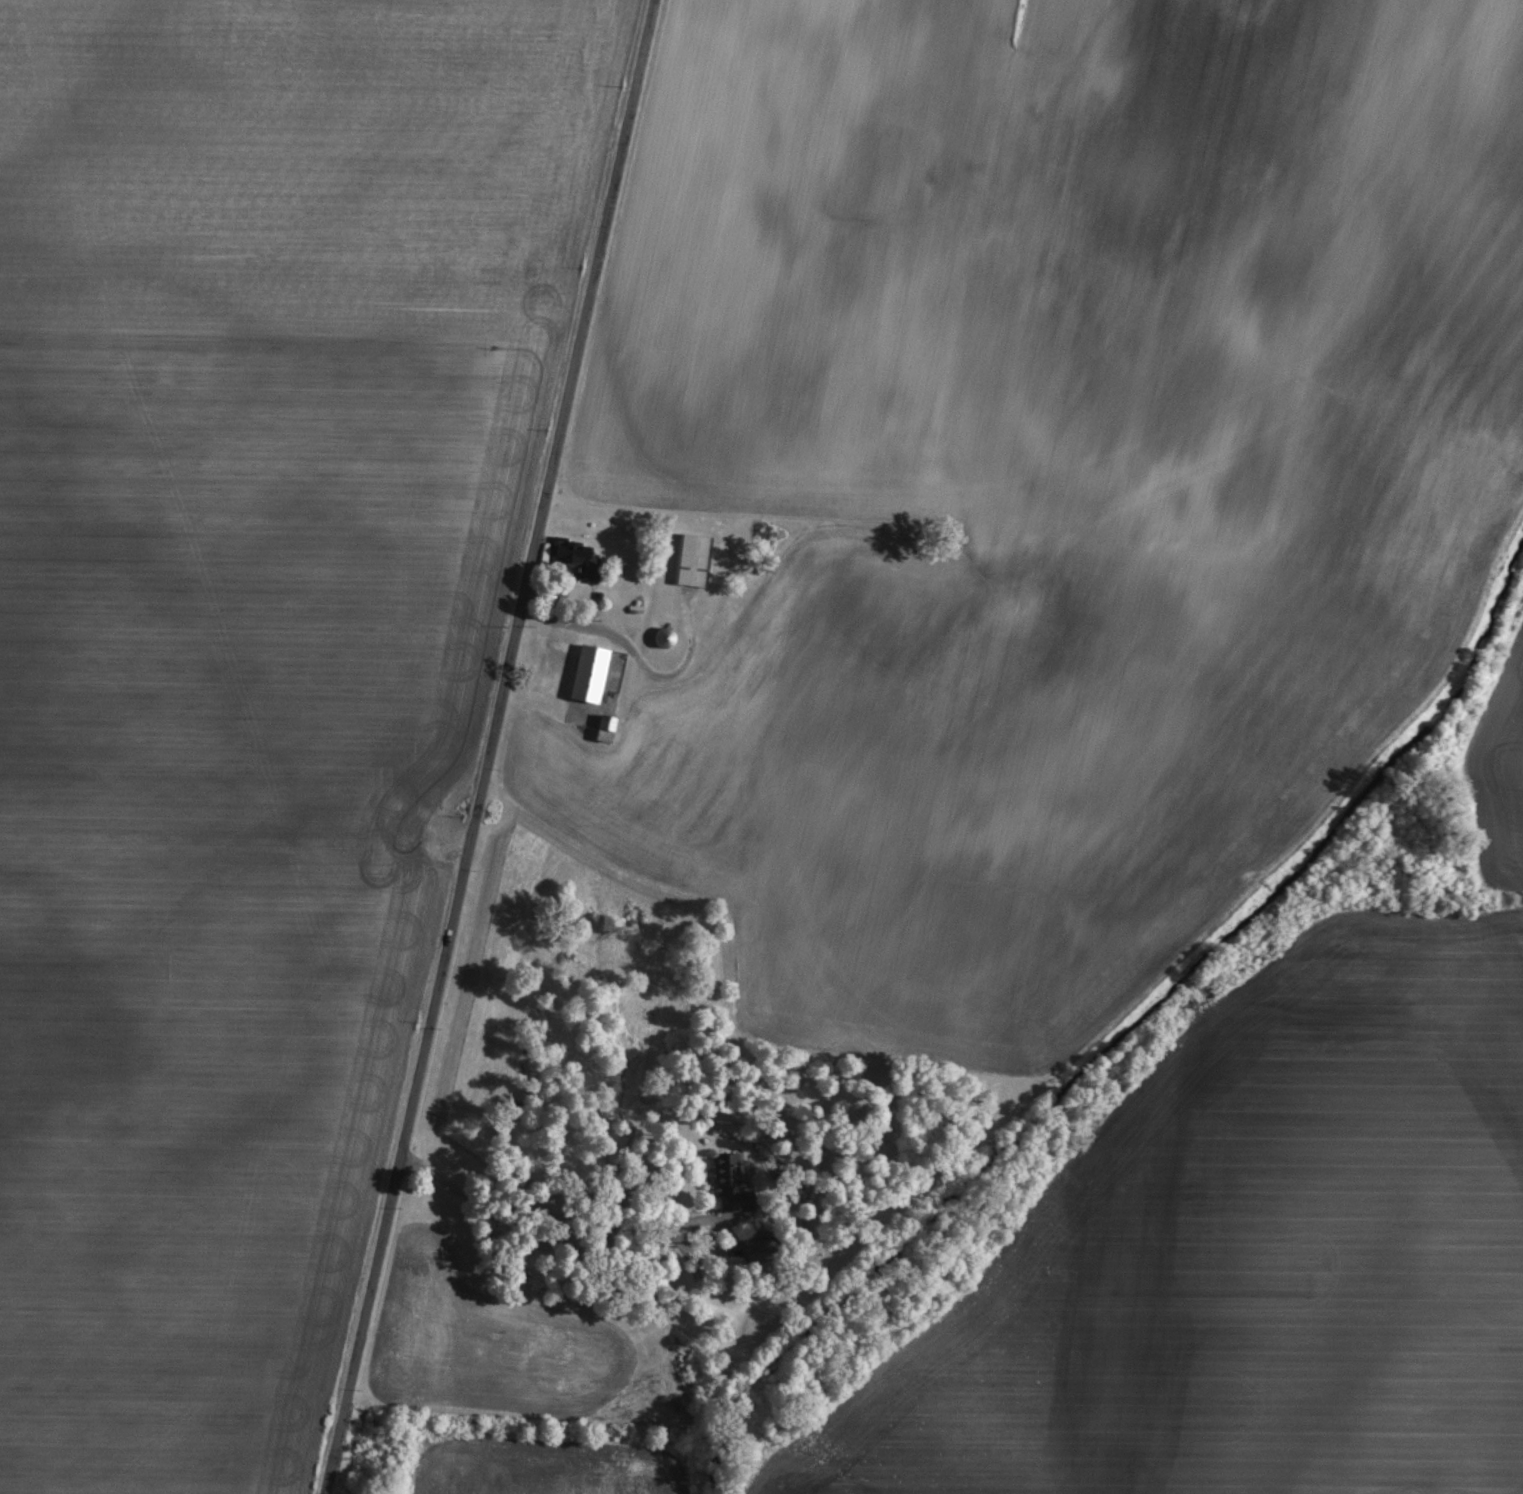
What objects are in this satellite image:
building: (688, 558)
building: (573, 560)
road: (635, 654)
building: (583, 671)
building: (600, 726)
road: (487, 746)
building: (723, 1179)
road: (546, 1229)

